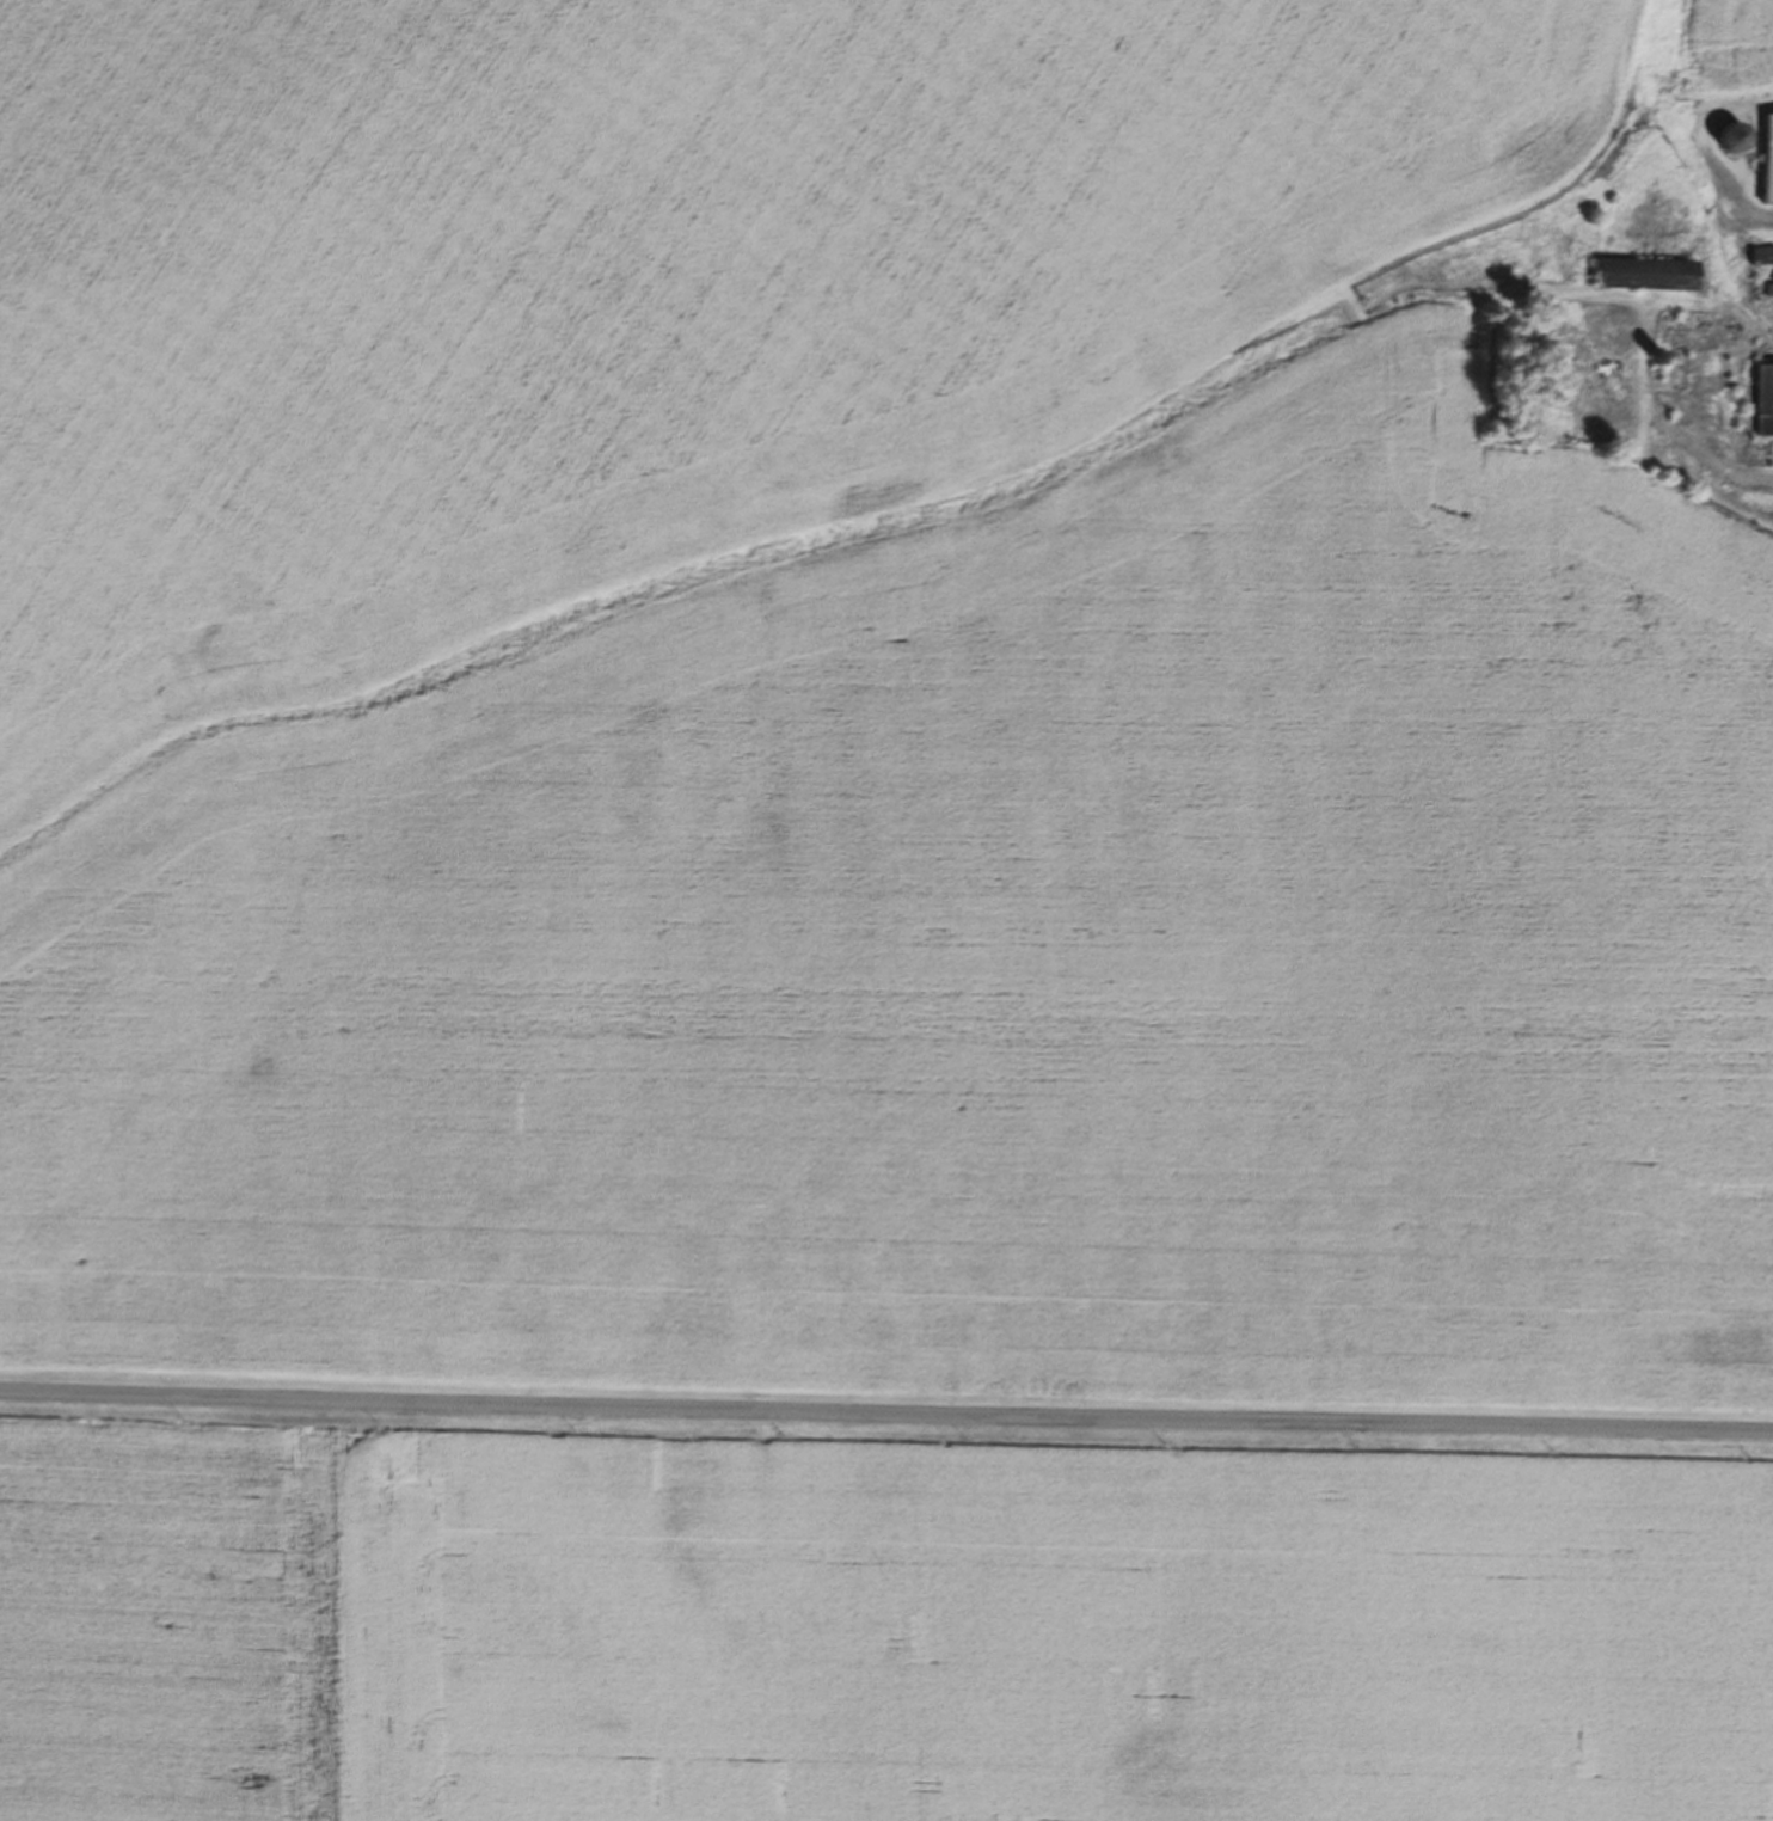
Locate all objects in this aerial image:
building: (1734, 136)
building: (1767, 158)
building: (1761, 256)
building: (1645, 274)
building: (1763, 399)
road: (885, 1415)

